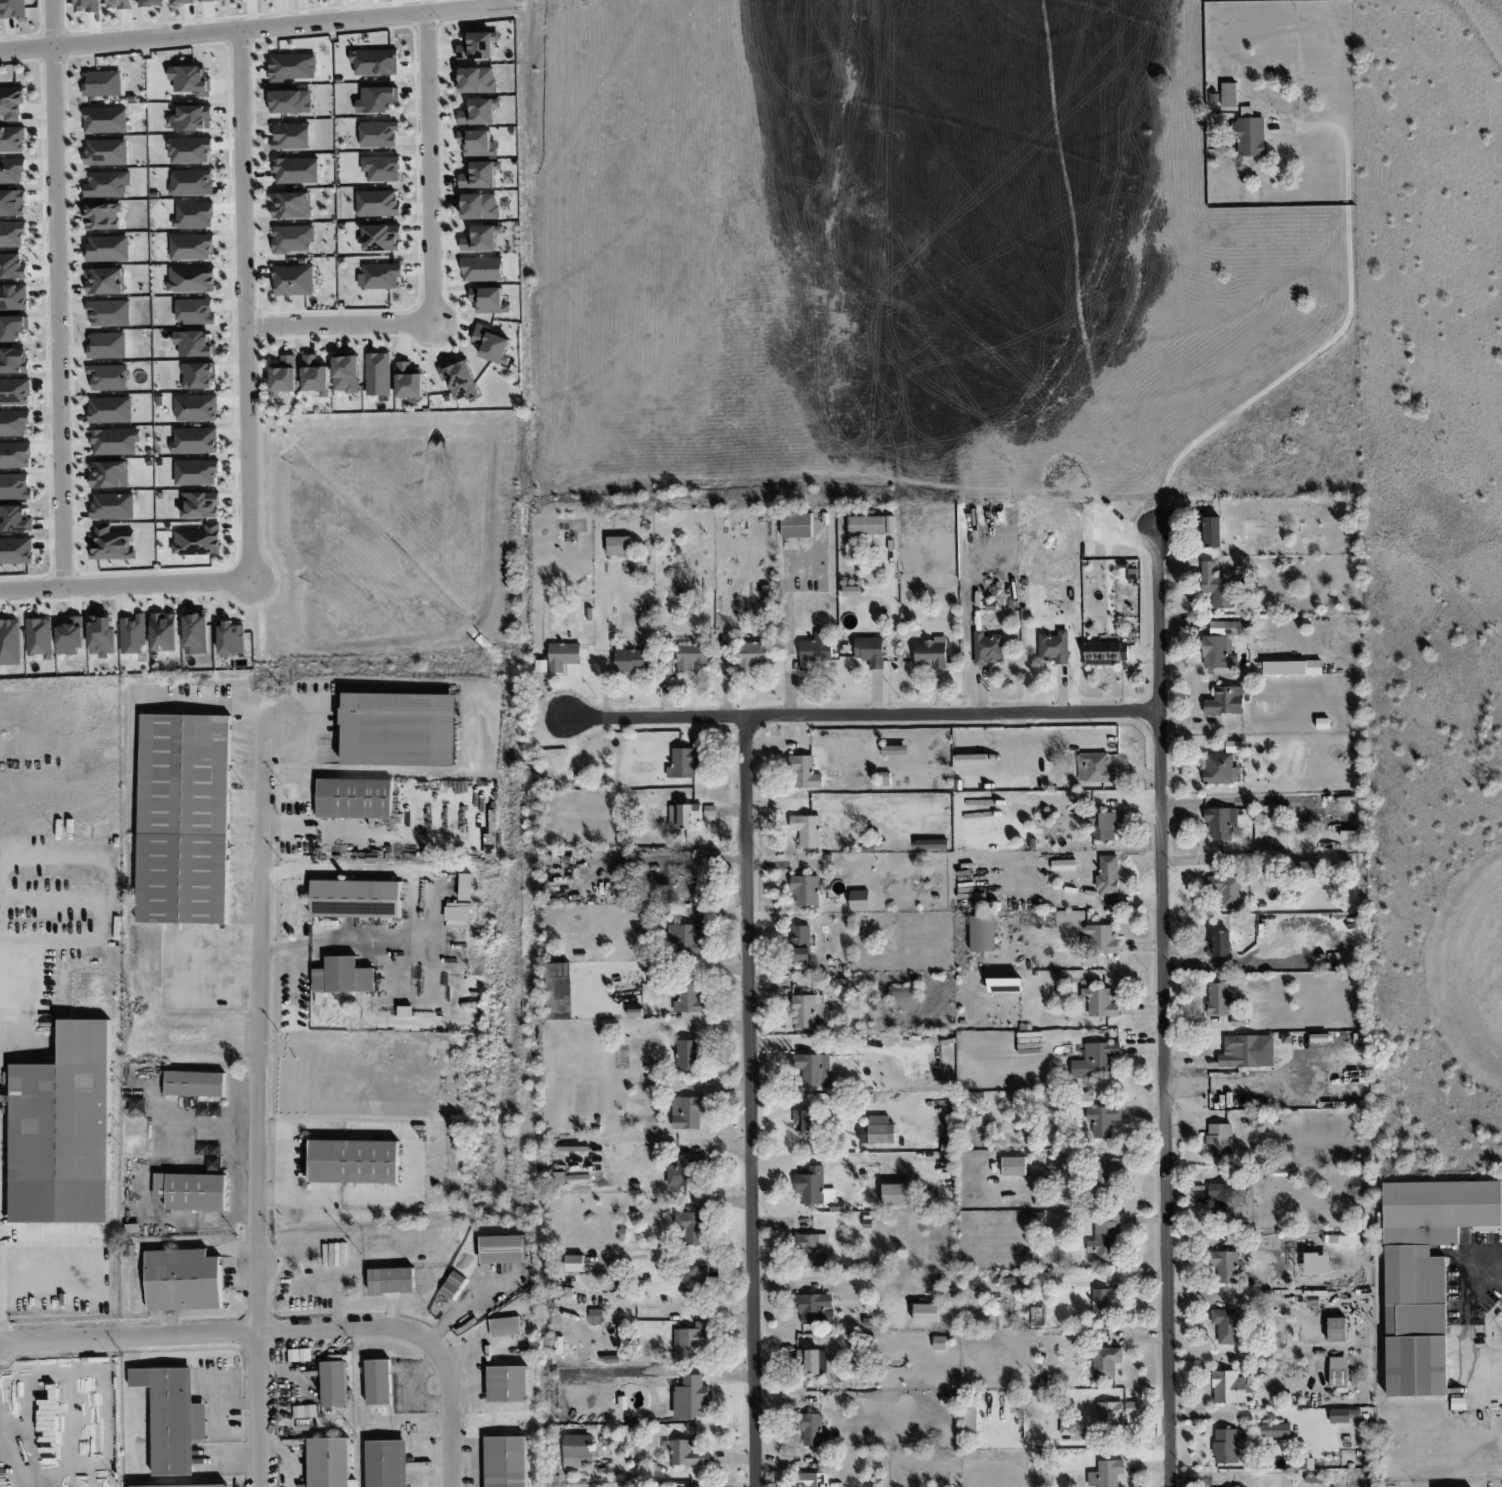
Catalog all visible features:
building: (211, 0)
building: (182, 1)
building: (150, 2)
building: (119, 4)
building: (87, 5)
building: (12, 9)
road: (259, 25)
building: (478, 45)
building: (374, 62)
building: (293, 66)
building: (191, 79)
building: (477, 80)
building: (102, 83)
building: (1229, 94)
building: (377, 99)
building: (291, 101)
building: (11, 102)
building: (479, 112)
building: (192, 117)
building: (105, 119)
road: (1308, 123)
building: (1249, 133)
building: (378, 134)
building: (292, 136)
building: (12, 139)
building: (476, 142)
building: (189, 150)
building: (106, 151)
road: (432, 166)
building: (381, 168)
building: (296, 170)
building: (11, 171)
building: (480, 175)
building: (191, 182)
building: (107, 184)
building: (378, 203)
building: (291, 205)
building: (480, 206)
building: (102, 216)
building: (12, 234)
building: (293, 238)
building: (382, 238)
building: (482, 238)
building: (191, 246)
building: (108, 248)
building: (482, 269)
building: (379, 275)
building: (191, 279)
building: (293, 280)
building: (105, 281)
road: (60, 293)
building: (13, 297)
building: (489, 300)
road: (248, 302)
building: (194, 311)
building: (109, 312)
road: (342, 321)
building: (13, 327)
building: (195, 343)
building: (492, 344)
building: (107, 345)
road: (1331, 345)
building: (14, 360)
building: (347, 373)
building: (379, 374)
building: (199, 375)
building: (284, 375)
building: (316, 375)
building: (109, 377)
building: (461, 379)
building: (410, 381)
building: (15, 391)
building: (196, 408)
building: (110, 409)
building: (14, 423)
building: (195, 440)
building: (114, 441)
building: (15, 455)
building: (196, 472)
building: (109, 474)
building: (14, 486)
building: (200, 504)
building: (113, 506)
building: (15, 519)
building: (797, 525)
building: (866, 525)
building: (1212, 531)
building: (197, 540)
building: (112, 544)
building: (619, 545)
building: (16, 551)
road: (126, 583)
building: (1216, 586)
building: (852, 590)
building: (1233, 626)
building: (165, 631)
building: (196, 632)
building: (133, 634)
building: (102, 635)
building: (39, 637)
building: (231, 638)
building: (10, 642)
road: (269, 647)
building: (1055, 647)
building: (988, 648)
building: (870, 650)
building: (814, 651)
building: (931, 652)
building: (1217, 652)
building: (1106, 653)
building: (752, 655)
building: (563, 656)
building: (691, 657)
building: (632, 661)
building: (1293, 667)
building: (1225, 700)
road: (864, 714)
building: (399, 729)
building: (684, 763)
building: (1095, 768)
building: (1218, 768)
building: (806, 771)
building: (354, 798)
building: (684, 815)
building: (185, 819)
building: (1221, 822)
building: (1103, 825)
building: (807, 829)
building: (931, 844)
building: (1308, 869)
building: (1108, 875)
building: (683, 879)
building: (1227, 889)
building: (805, 890)
building: (356, 898)
building: (860, 900)
road: (426, 910)
building: (325, 921)
building: (982, 933)
building: (686, 938)
building: (1099, 939)
building: (800, 943)
building: (1220, 943)
building: (558, 969)
building: (343, 976)
building: (1004, 984)
road: (1165, 991)
building: (904, 996)
building: (689, 997)
building: (1219, 998)
building: (1100, 1001)
road: (23, 1009)
building: (809, 1011)
road: (261, 1020)
building: (1247, 1051)
building: (687, 1054)
building: (1095, 1060)
building: (813, 1068)
building: (195, 1083)
building: (1085, 1099)
road: (752, 1101)
building: (688, 1111)
building: (1102, 1120)
building: (806, 1121)
building: (1260, 1121)
building: (878, 1130)
building: (63, 1131)
building: (1219, 1139)
building: (354, 1161)
building: (1014, 1165)
building: (686, 1171)
building: (1106, 1175)
building: (815, 1188)
building: (192, 1191)
building: (898, 1194)
building: (1221, 1198)
building: (1037, 1218)
building: (692, 1227)
building: (1342, 1238)
building: (1105, 1239)
building: (502, 1249)
building: (812, 1250)
building: (575, 1263)
building: (1226, 1266)
building: (1425, 1273)
building: (695, 1278)
building: (183, 1280)
building: (391, 1280)
building: (1016, 1281)
building: (1103, 1303)
building: (813, 1307)
road: (1466, 1311)
building: (925, 1312)
building: (1040, 1320)
building: (1226, 1325)
building: (505, 1326)
building: (1337, 1329)
road: (290, 1331)
building: (692, 1339)
building: (939, 1342)
building: (813, 1361)
building: (1106, 1362)
building: (1338, 1371)
building: (379, 1382)
building: (334, 1384)
building: (508, 1384)
building: (1230, 1387)
building: (691, 1397)
building: (1133, 1408)
road: (259, 1410)
building: (1109, 1413)
building: (173, 1417)
building: (970, 1419)
building: (1276, 1429)
building: (813, 1430)
building: (1228, 1445)
building: (576, 1450)
road: (13, 1452)
building: (686, 1452)
building: (505, 1461)
building: (329, 1462)
building: (387, 1463)
building: (1106, 1473)
building: (813, 1479)

